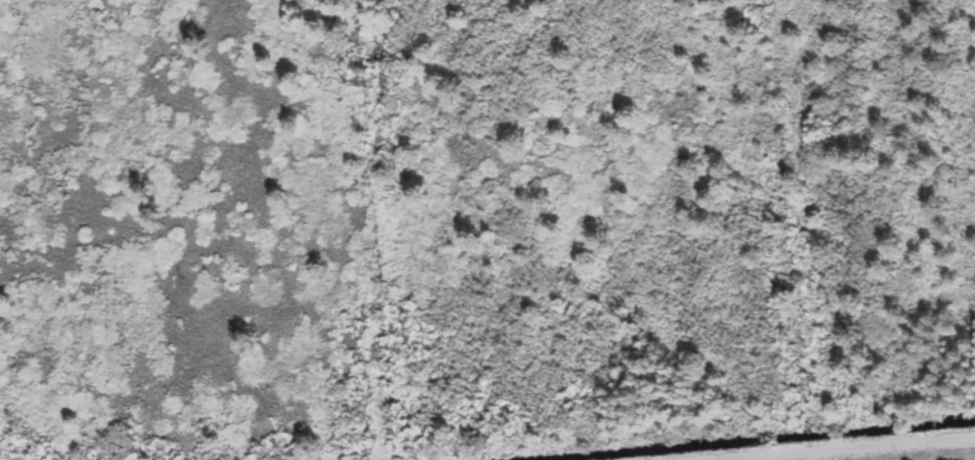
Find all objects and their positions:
road: (854, 449)

